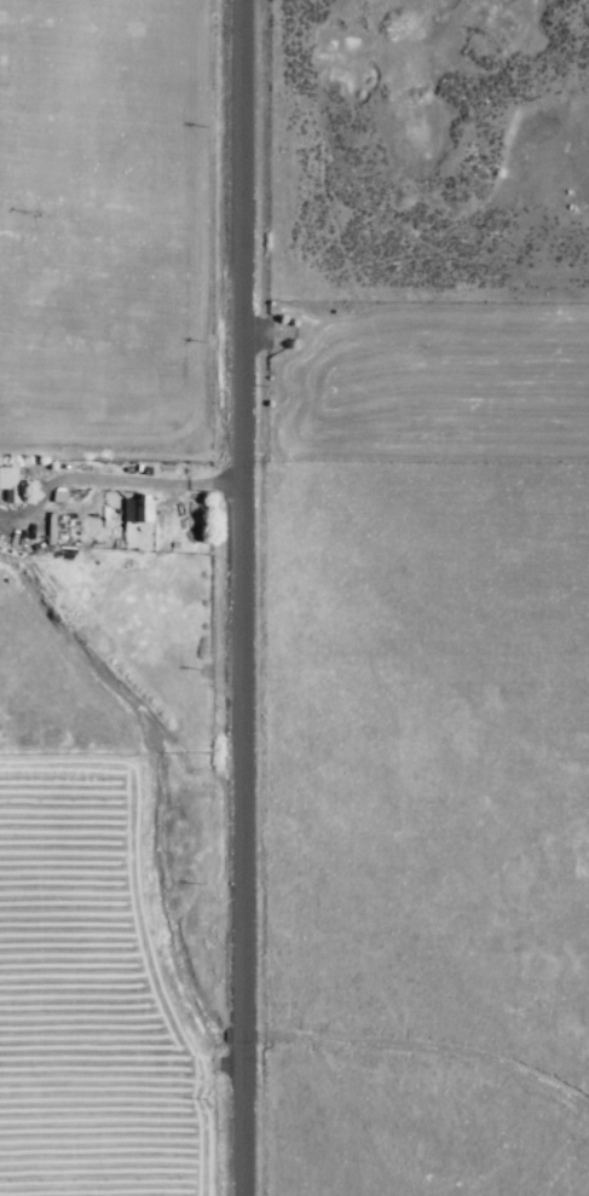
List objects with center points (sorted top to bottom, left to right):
road: (114, 478)
building: (8, 481)
building: (138, 508)
road: (237, 597)
crop: (294, 597)

